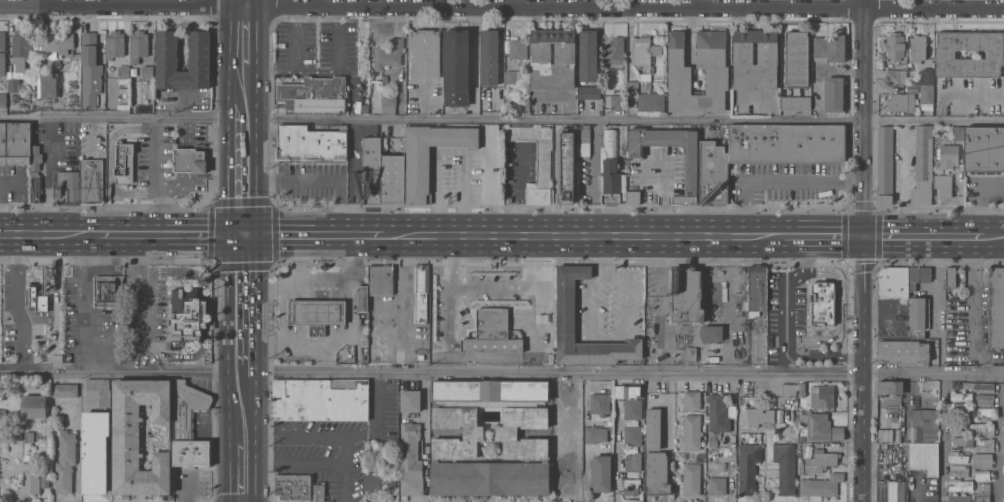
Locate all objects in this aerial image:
road: (230, 3)
road: (255, 3)
road: (696, 4)
road: (501, 7)
road: (691, 20)
road: (255, 34)
building: (55, 43)
building: (115, 44)
building: (139, 45)
building: (895, 45)
road: (229, 46)
road: (691, 47)
building: (830, 48)
building: (918, 48)
building: (518, 49)
building: (644, 51)
building: (541, 52)
building: (2, 53)
building: (426, 53)
building: (615, 53)
building: (768, 53)
building: (389, 54)
building: (945, 54)
building: (22, 55)
building: (588, 55)
building: (490, 57)
building: (798, 59)
building: (168, 61)
building: (456, 67)
building: (91, 70)
road: (275, 70)
building: (717, 70)
building: (124, 71)
building: (147, 71)
road: (256, 72)
road: (318, 72)
building: (516, 76)
building: (896, 76)
building: (926, 76)
building: (646, 80)
building: (911, 80)
building: (50, 84)
building: (632, 85)
building: (590, 92)
building: (834, 93)
building: (927, 94)
building: (314, 96)
road: (229, 99)
building: (389, 99)
building: (3, 100)
building: (617, 101)
building: (651, 101)
building: (902, 102)
building: (795, 103)
building: (365, 108)
road: (114, 118)
road: (630, 120)
building: (46, 129)
building: (58, 131)
building: (958, 133)
building: (584, 141)
building: (15, 142)
building: (310, 143)
building: (73, 149)
building: (984, 149)
building: (766, 151)
building: (623, 153)
building: (429, 155)
building: (949, 155)
road: (256, 156)
building: (36, 157)
building: (190, 160)
building: (537, 160)
building: (125, 162)
building: (885, 163)
building: (923, 165)
building: (567, 168)
building: (371, 169)
building: (609, 169)
road: (228, 170)
road: (155, 175)
building: (692, 176)
building: (392, 178)
road: (321, 179)
building: (92, 181)
road: (781, 181)
building: (944, 185)
road: (593, 186)
building: (35, 187)
building: (69, 187)
road: (48, 194)
building: (633, 197)
traffic signals: (227, 230)
road: (242, 230)
road: (823, 230)
road: (151, 231)
traffic signals: (257, 231)
road: (322, 231)
road: (395, 231)
road: (592, 231)
road: (925, 231)
road: (38, 232)
road: (994, 232)
road: (865, 250)
road: (603, 252)
road: (658, 262)
road: (296, 266)
building: (919, 276)
building: (951, 277)
road: (82, 278)
building: (381, 279)
building: (894, 281)
parking lot: (20, 288)
road: (353, 288)
building: (107, 289)
building: (758, 289)
building: (421, 291)
building: (438, 293)
building: (686, 296)
building: (363, 297)
road: (786, 297)
road: (145, 298)
road: (283, 298)
building: (36, 299)
road: (256, 301)
road: (729, 301)
road: (402, 302)
road: (23, 303)
building: (823, 303)
building: (53, 307)
building: (567, 308)
building: (996, 308)
building: (537, 312)
building: (318, 313)
building: (189, 314)
building: (919, 316)
road: (227, 330)
building: (492, 330)
road: (659, 333)
building: (712, 333)
road: (613, 334)
road: (303, 341)
building: (25, 343)
road: (84, 346)
building: (903, 351)
building: (691, 354)
road: (825, 356)
road: (501, 373)
building: (29, 384)
building: (1, 386)
building: (979, 386)
building: (892, 387)
building: (789, 388)
building: (802, 389)
building: (65, 390)
building: (101, 390)
building: (962, 395)
building: (823, 396)
building: (631, 399)
building: (692, 399)
building: (985, 399)
building: (322, 400)
building: (411, 400)
building: (601, 403)
building: (34, 406)
building: (188, 409)
building: (959, 409)
building: (719, 413)
building: (981, 413)
building: (762, 417)
building: (923, 425)
building: (957, 426)
building: (823, 428)
building: (653, 429)
building: (982, 429)
building: (692, 431)
building: (595, 434)
building: (633, 435)
building: (29, 436)
building: (140, 436)
road: (267, 436)
road: (357, 436)
road: (256, 437)
building: (447, 437)
road: (999, 439)
building: (963, 441)
building: (983, 445)
building: (96, 450)
building: (192, 453)
road: (616, 454)
building: (957, 456)
building: (925, 457)
building: (981, 459)
building: (411, 460)
building: (66, 461)
building: (633, 461)
building: (821, 461)
road: (267, 463)
road: (311, 463)
building: (426, 464)
road: (227, 466)
building: (749, 466)
building: (786, 467)
road: (344, 469)
building: (958, 470)
building: (982, 472)
building: (602, 473)
building: (657, 473)
building: (31, 477)
building: (373, 477)
building: (692, 478)
building: (45, 479)
building: (391, 480)
building: (717, 485)
building: (821, 485)
building: (960, 485)
building: (631, 486)
building: (299, 488)
building: (893, 491)
building: (981, 493)
building: (959, 497)

